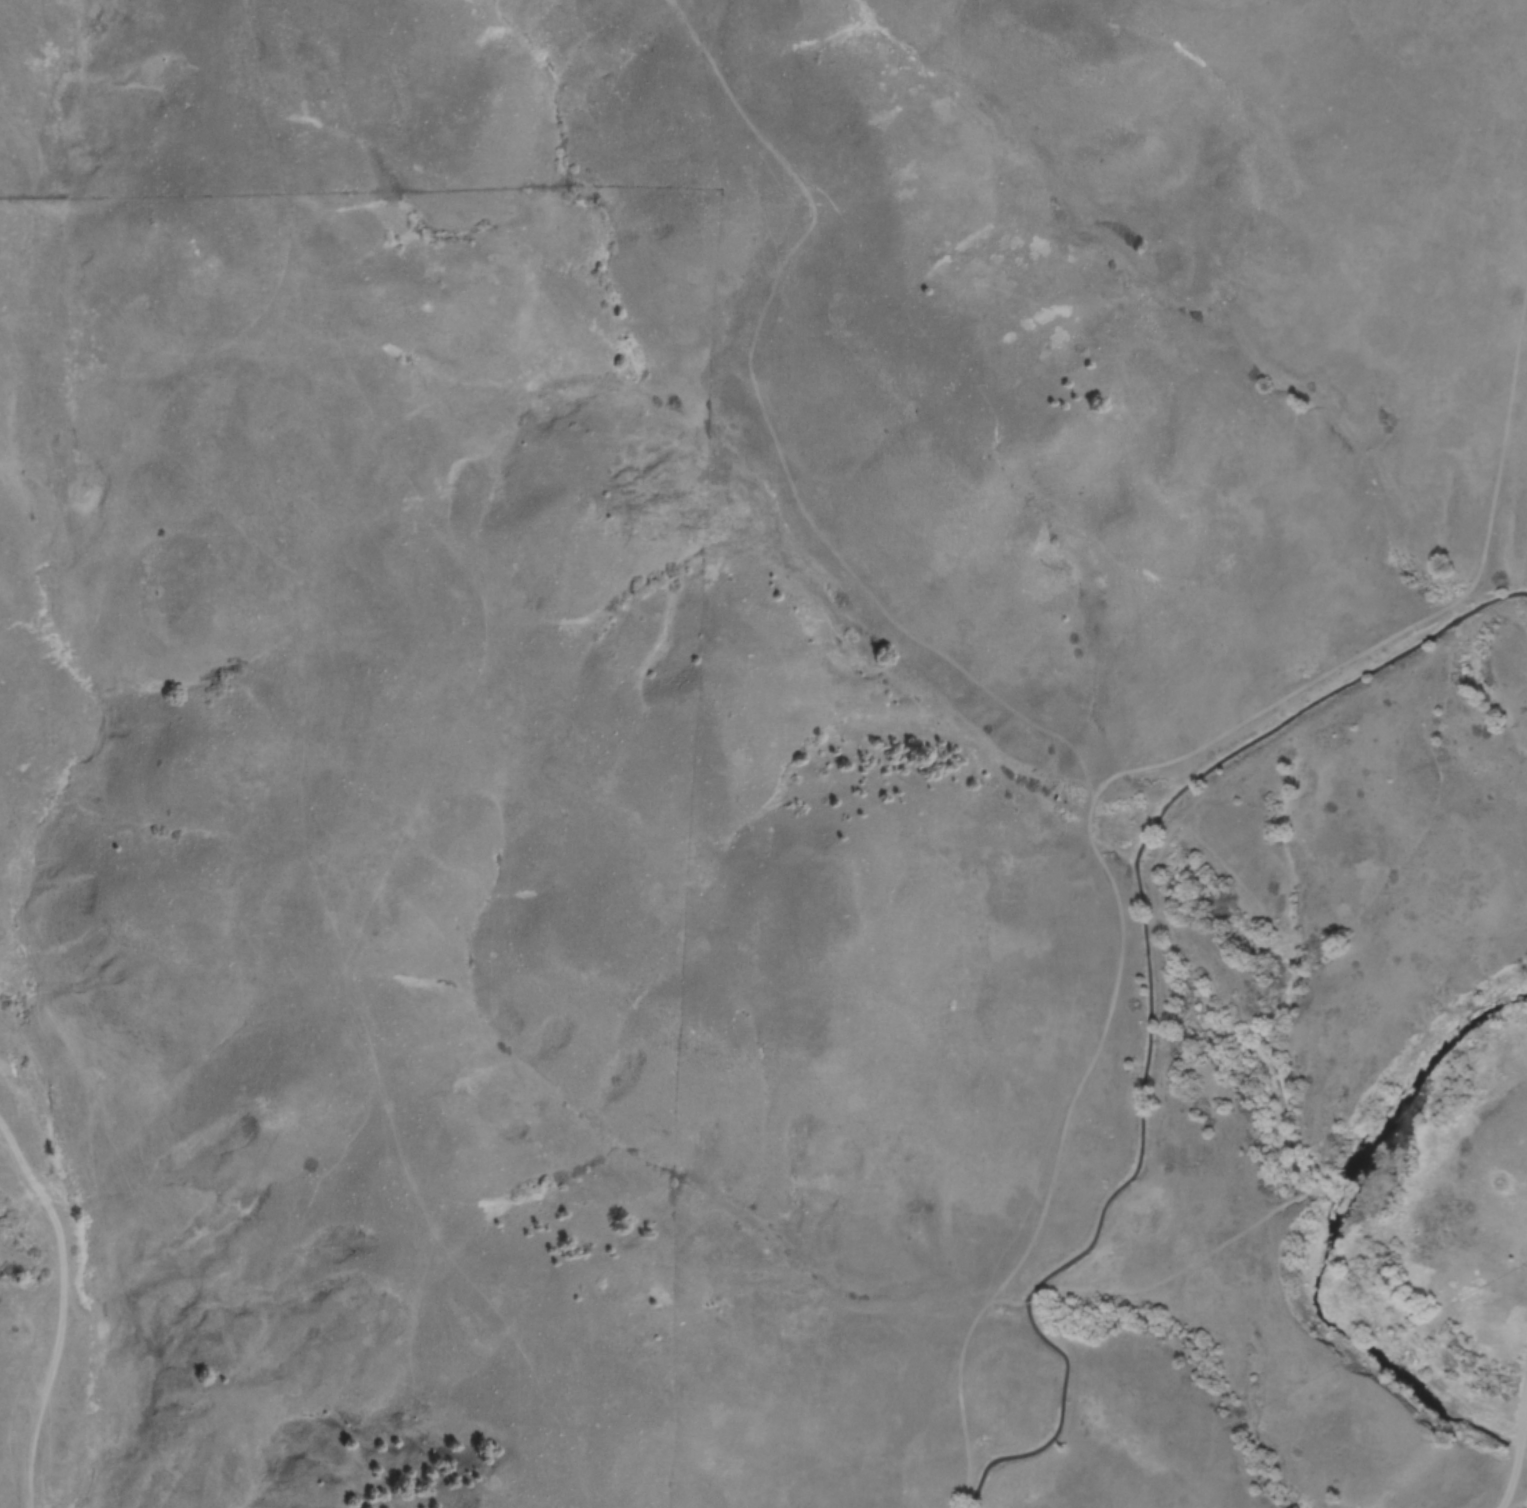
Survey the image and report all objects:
road: (1520, 1468)

